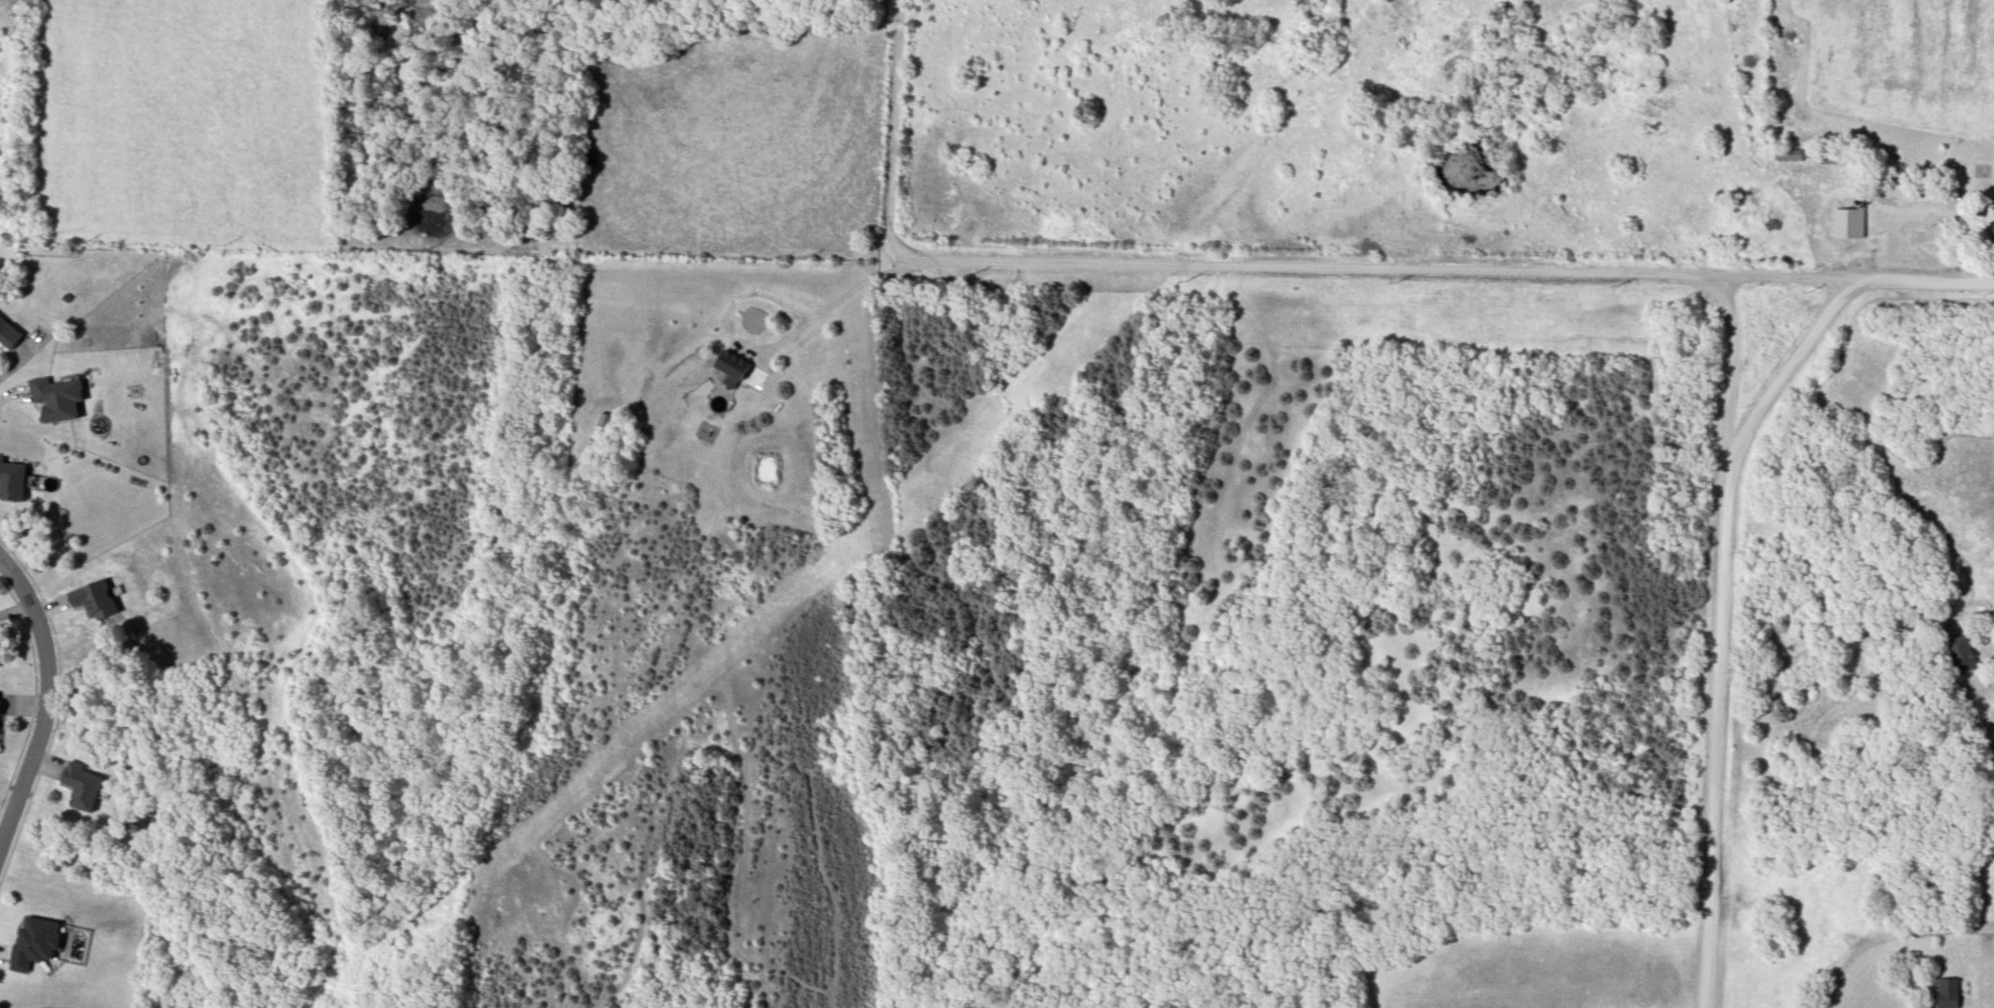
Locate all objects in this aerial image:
building: (428, 75)
road: (895, 126)
building: (1803, 157)
building: (1892, 190)
building: (1848, 225)
building: (1992, 238)
road: (1445, 276)
building: (8, 339)
road: (767, 349)
building: (735, 367)
road: (1786, 382)
building: (59, 397)
building: (13, 477)
building: (96, 601)
road: (1721, 636)
road: (1832, 643)
building: (1960, 655)
road: (50, 709)
building: (2, 718)
building: (81, 787)
road: (1890, 934)
building: (39, 946)
building: (1946, 994)

